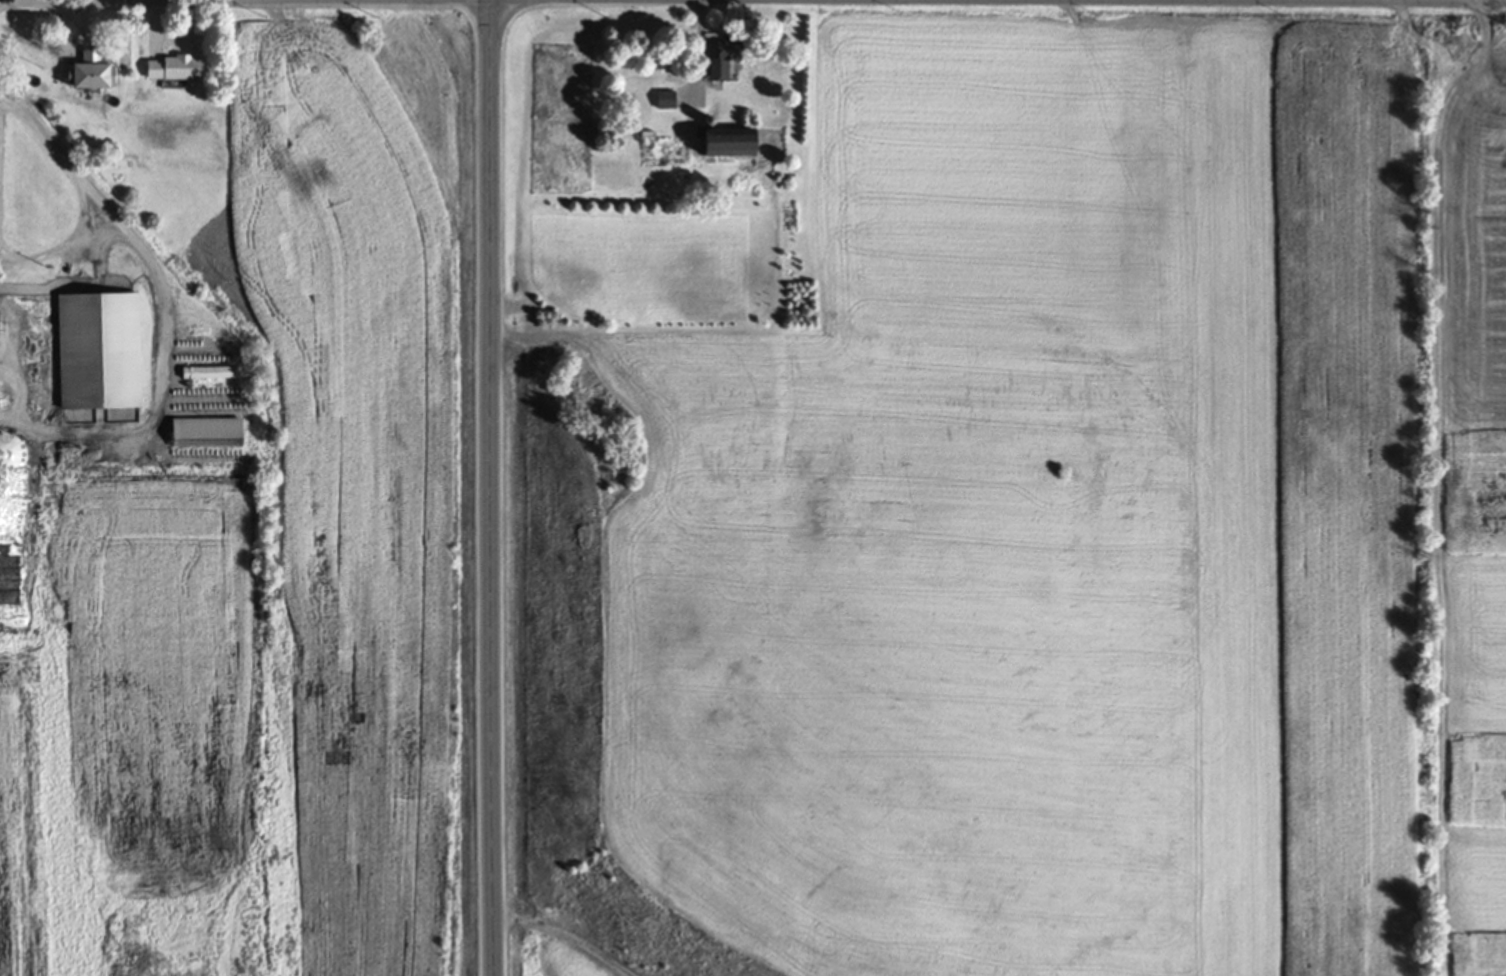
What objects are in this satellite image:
road: (86, 0)
road: (1442, 0)
road: (703, 53)
building: (729, 59)
building: (177, 69)
building: (97, 72)
building: (669, 101)
building: (737, 145)
road: (58, 245)
road: (164, 316)
building: (103, 352)
building: (210, 374)
road: (493, 487)
building: (13, 490)

